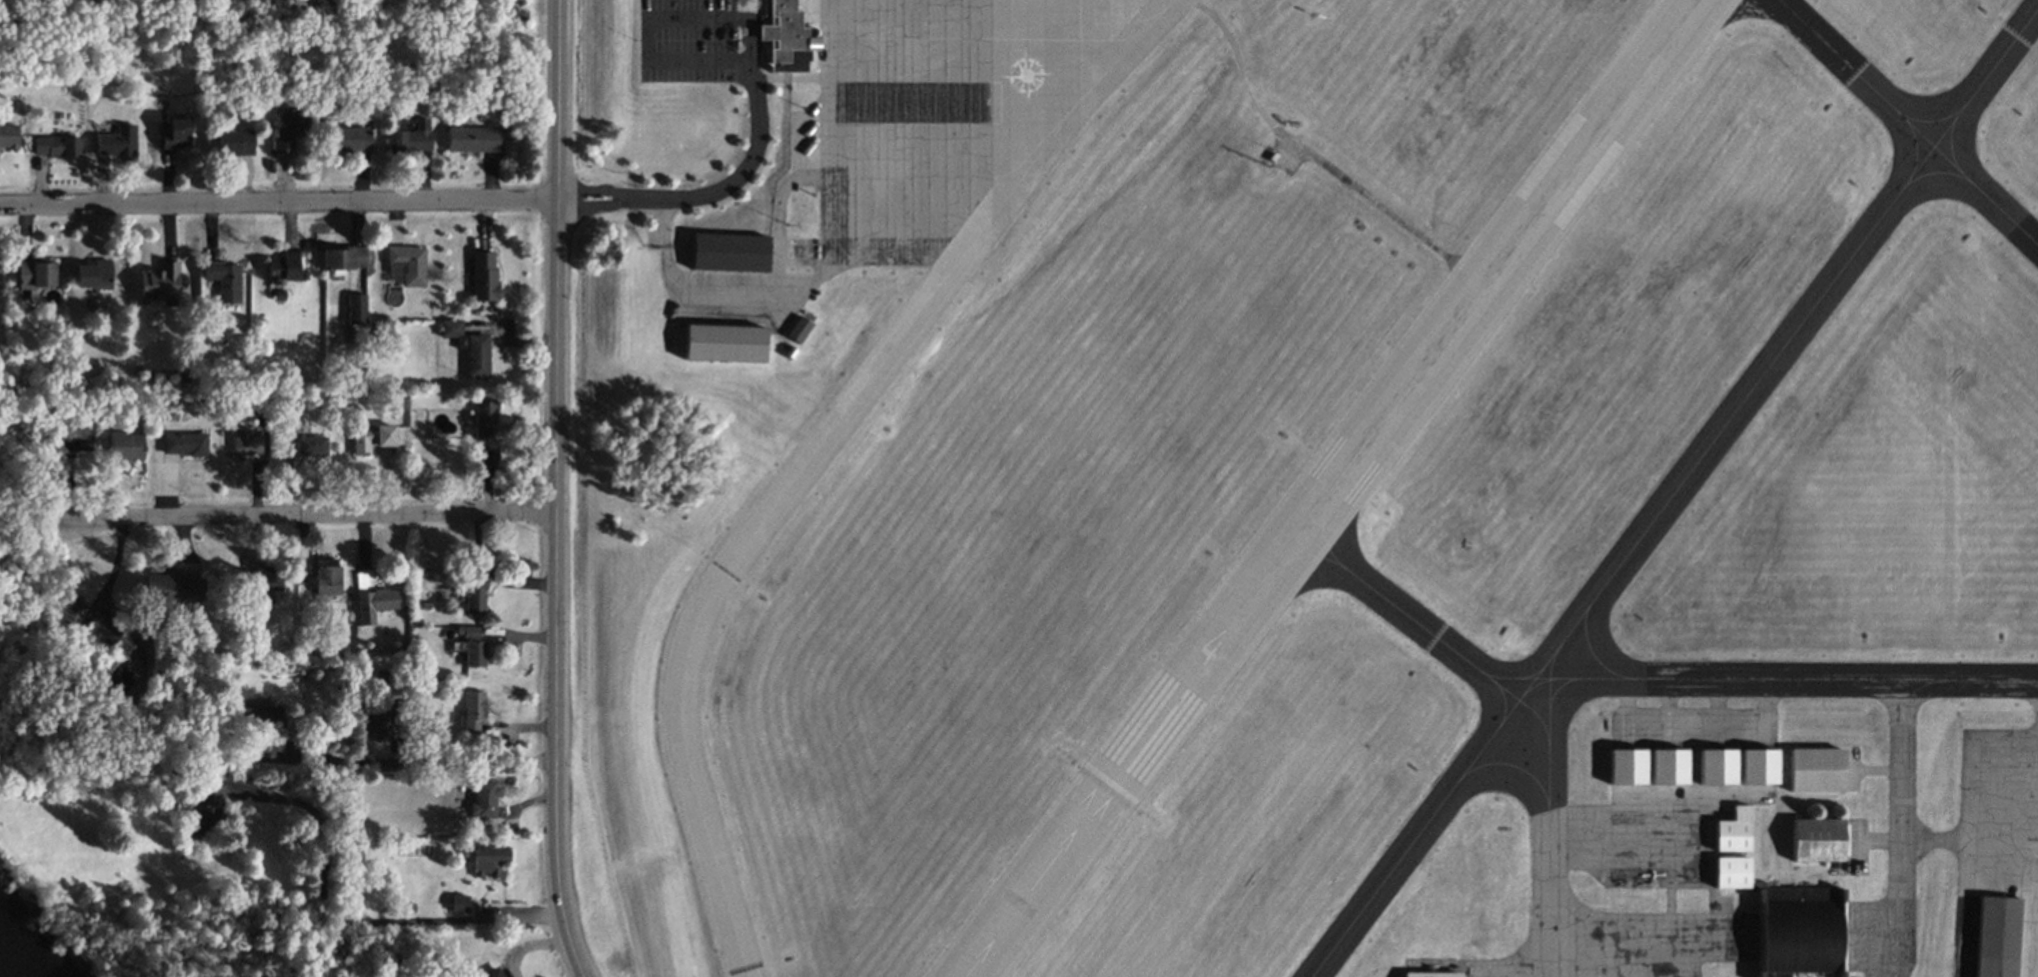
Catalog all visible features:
building: (791, 36)
parking lot: (688, 41)
road: (752, 74)
airport apron: (930, 114)
airport taxiway: (1908, 122)
building: (288, 130)
building: (175, 134)
building: (8, 136)
building: (410, 138)
building: (471, 139)
building: (350, 140)
building: (234, 142)
building: (116, 143)
building: (57, 147)
road: (277, 204)
airport hangar: (735, 251)
building: (735, 251)
building: (343, 257)
building: (407, 264)
building: (283, 266)
building: (36, 274)
building: (94, 274)
building: (483, 276)
building: (224, 280)
building: (160, 283)
building: (803, 328)
airport hangar: (731, 341)
building: (731, 341)
building: (469, 348)
building: (794, 351)
building: (484, 411)
building: (289, 430)
building: (73, 439)
building: (373, 439)
building: (246, 442)
building: (185, 443)
building: (125, 446)
building: (311, 446)
airport taxiway: (816, 449)
building: (487, 466)
road: (555, 475)
airport: (1314, 486)
airport runway: (1331, 488)
airport taxiway: (1674, 491)
road: (277, 517)
building: (327, 577)
building: (267, 583)
building: (170, 588)
building: (474, 592)
building: (372, 599)
airport taxiway: (1408, 615)
building: (103, 629)
building: (471, 646)
airport taxiway: (1786, 676)
building: (472, 711)
building: (261, 715)
building: (377, 723)
road: (419, 761)
building: (1665, 763)
building: (1712, 766)
building: (1622, 767)
building: (1754, 767)
building: (1811, 769)
building: (484, 800)
building: (206, 808)
building: (1729, 831)
airport apron: (1649, 835)
building: (1813, 840)
building: (487, 861)
building: (459, 903)
airport hangar: (1788, 922)
building: (1788, 922)
airport apron: (1604, 928)
airport hangar: (1993, 937)
building: (1993, 937)
road: (382, 950)
road: (566, 963)
building: (490, 973)
airport hangar: (1432, 974)
building: (1432, 974)

